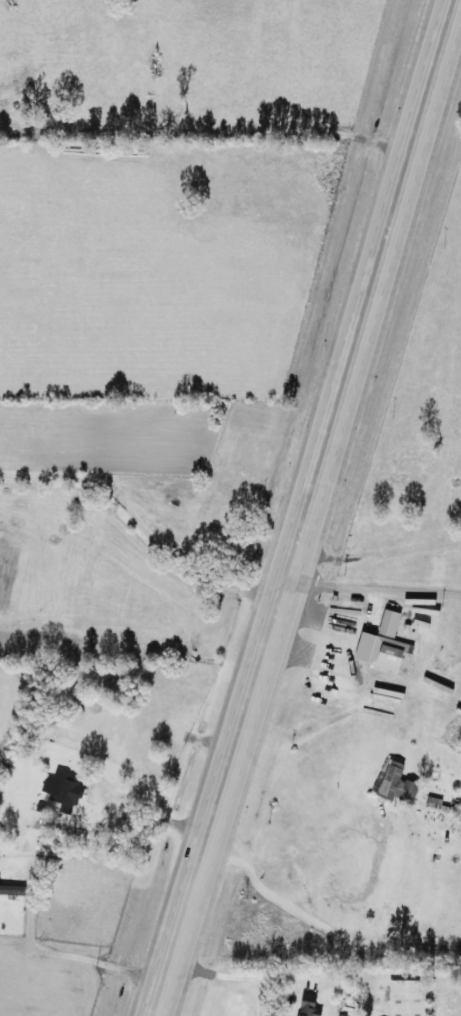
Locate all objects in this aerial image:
road: (305, 508)
road: (373, 584)
building: (388, 623)
building: (396, 784)
building: (62, 789)
building: (11, 887)
building: (405, 998)
building: (307, 1008)

